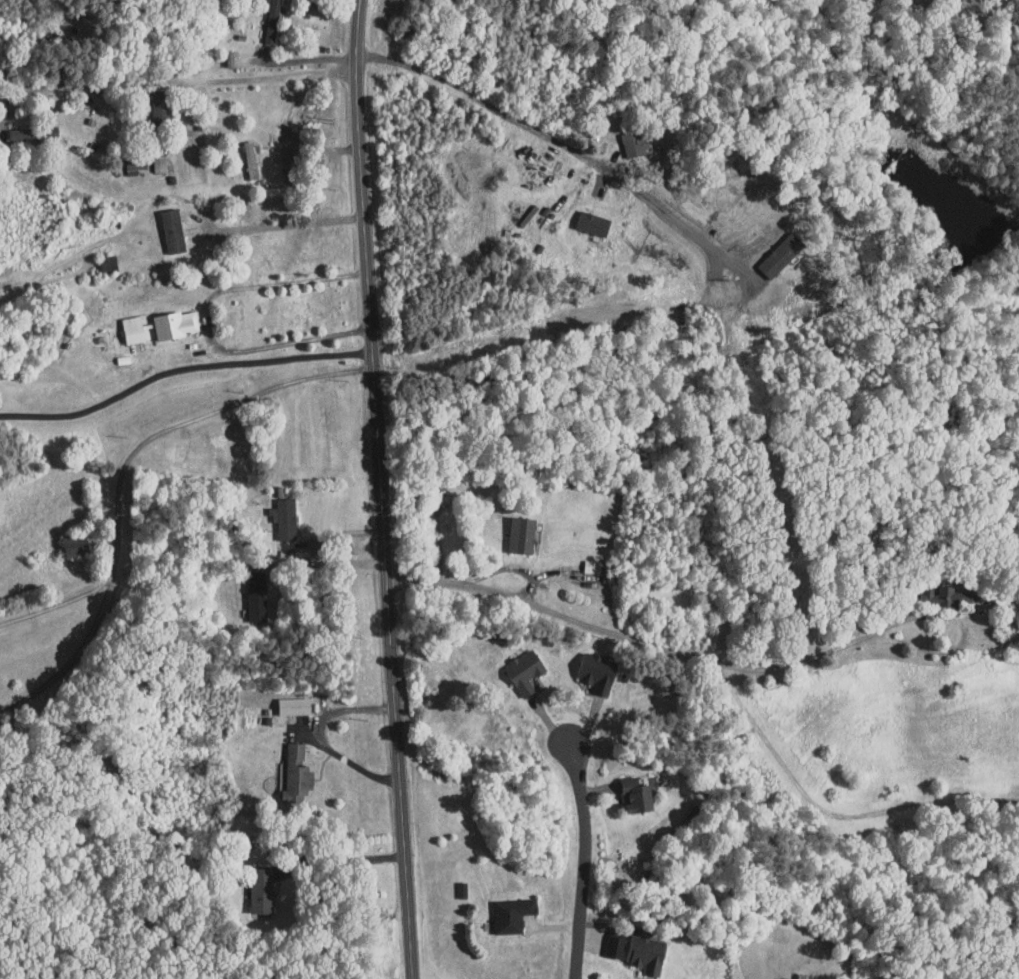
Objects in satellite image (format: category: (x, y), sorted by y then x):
building: (262, 18)
road: (178, 82)
building: (13, 127)
building: (623, 137)
road: (285, 140)
building: (240, 154)
building: (149, 157)
building: (123, 158)
road: (606, 168)
building: (582, 217)
road: (288, 223)
building: (162, 225)
building: (770, 249)
building: (166, 319)
road: (211, 319)
building: (123, 323)
road: (181, 367)
road: (187, 422)
road: (380, 489)
building: (274, 511)
building: (511, 528)
building: (64, 537)
road: (327, 562)
building: (246, 588)
building: (937, 589)
road: (56, 602)
road: (633, 639)
road: (71, 659)
building: (515, 665)
building: (587, 666)
building: (284, 699)
road: (321, 736)
building: (286, 767)
building: (627, 788)
road: (826, 810)
road: (340, 860)
road: (582, 860)
building: (251, 882)
building: (502, 907)
building: (606, 938)
building: (636, 947)
building: (793, 976)

